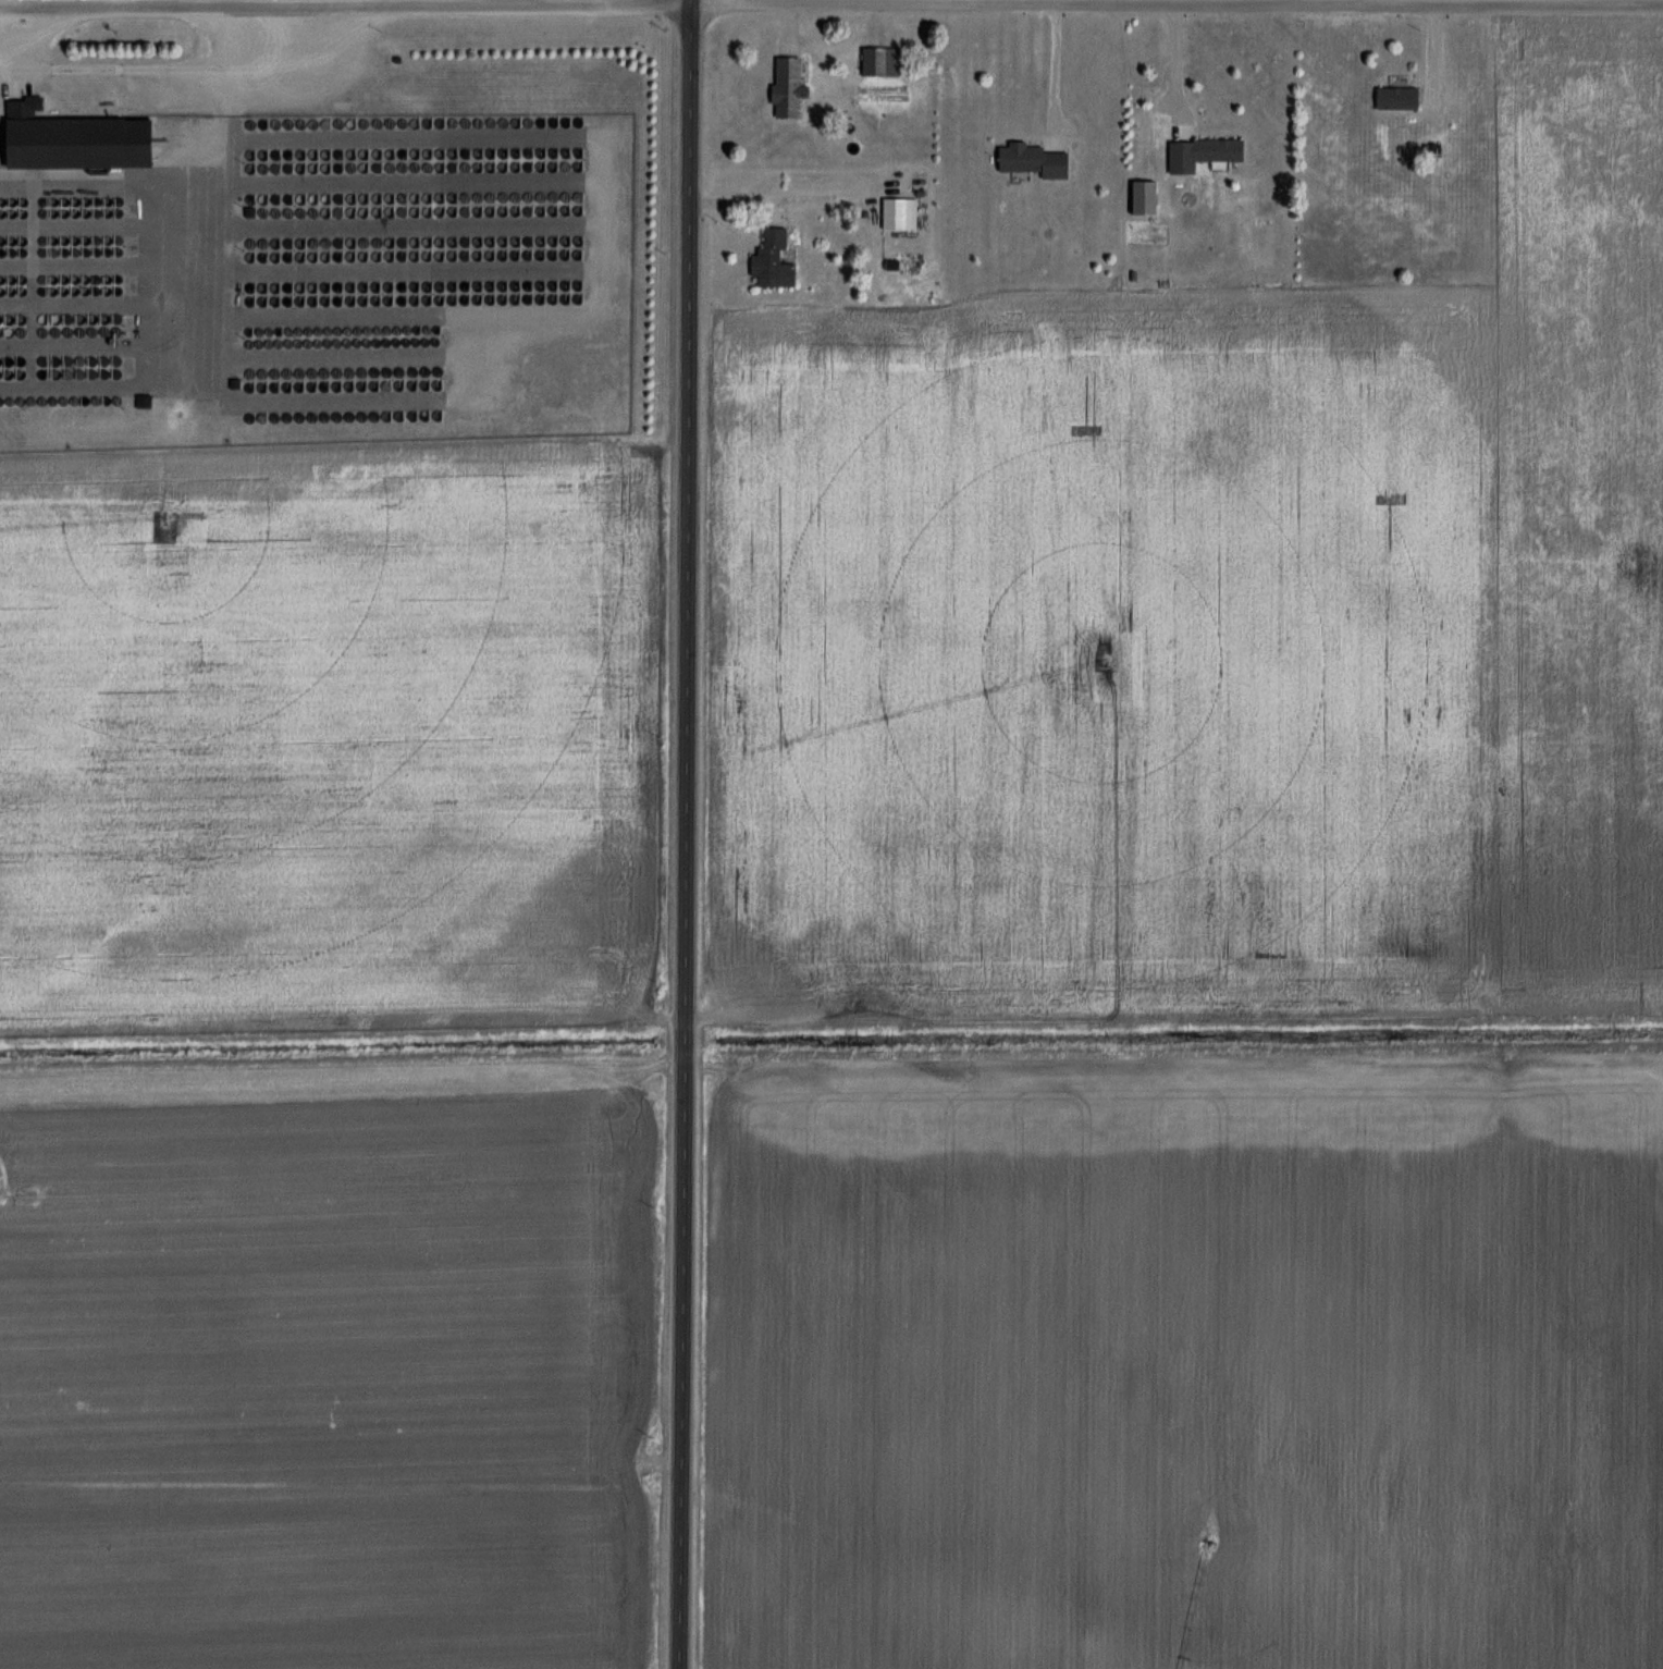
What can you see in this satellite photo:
road: (830, 1)
road: (1258, 1)
road: (1372, 1)
road: (1544, 1)
road: (41, 26)
road: (205, 30)
building: (876, 62)
road: (1179, 65)
road: (1057, 66)
road: (175, 68)
road: (37, 75)
building: (794, 87)
building: (1391, 98)
road: (231, 109)
storage tank: (417, 122)
storage tank: (429, 122)
storage tank: (442, 122)
storage tank: (316, 123)
storage tank: (328, 123)
storage tank: (341, 123)
storage tank: (353, 123)
storage tank: (366, 123)
storage tank: (378, 123)
storage tank: (390, 123)
storage tank: (403, 123)
storage tank: (252, 124)
storage tank: (266, 124)
storage tank: (279, 124)
storage tank: (291, 124)
storage tank: (304, 124)
building: (76, 139)
road: (331, 139)
storage tank: (390, 154)
storage tank: (403, 154)
storage tank: (417, 154)
storage tank: (429, 154)
storage tank: (442, 154)
building: (1198, 154)
storage tank: (291, 155)
storage tank: (303, 155)
storage tank: (316, 155)
storage tank: (328, 155)
storage tank: (341, 155)
storage tank: (353, 155)
storage tank: (365, 155)
storage tank: (378, 155)
storage tank: (252, 156)
storage tank: (266, 156)
storage tank: (279, 156)
building: (1028, 161)
storage tank: (417, 167)
storage tank: (430, 167)
storage tank: (442, 167)
storage tank: (304, 168)
storage tank: (316, 168)
storage tank: (329, 168)
storage tank: (341, 168)
storage tank: (354, 168)
storage tank: (366, 168)
storage tank: (378, 168)
storage tank: (391, 168)
storage tank: (404, 168)
storage tank: (254, 169)
storage tank: (266, 169)
storage tank: (279, 169)
storage tank: (291, 169)
road: (331, 184)
road: (103, 185)
storage tank: (353, 198)
storage tank: (365, 198)
storage tank: (378, 198)
storage tank: (390, 198)
storage tank: (403, 198)
storage tank: (417, 198)
storage tank: (429, 198)
storage tank: (442, 198)
building: (1137, 198)
storage tank: (252, 199)
storage tank: (266, 199)
storage tank: (279, 199)
storage tank: (291, 199)
storage tank: (303, 199)
storage tank: (316, 199)
storage tank: (328, 199)
storage tank: (341, 199)
storage tank: (25, 201)
storage tank: (67, 201)
storage tank: (77, 201)
storage tank: (88, 201)
storage tank: (99, 201)
storage tank: (110, 201)
storage tank: (121, 201)
storage tank: (3, 203)
storage tank: (14, 203)
storage tank: (46, 203)
storage tank: (57, 203)
storage tank: (378, 211)
storage tank: (391, 211)
storage tank: (404, 211)
storage tank: (417, 211)
storage tank: (430, 211)
storage tank: (442, 211)
storage tank: (77, 212)
storage tank: (88, 212)
storage tank: (99, 212)
storage tank: (110, 212)
storage tank: (121, 212)
storage tank: (266, 212)
storage tank: (279, 212)
storage tank: (291, 212)
storage tank: (304, 212)
storage tank: (316, 212)
storage tank: (329, 212)
storage tank: (341, 212)
storage tank: (354, 212)
storage tank: (366, 212)
storage tank: (3, 213)
storage tank: (13, 213)
storage tank: (24, 213)
storage tank: (46, 213)
storage tank: (57, 213)
storage tank: (66, 213)
storage tank: (254, 213)
building: (896, 214)
road: (103, 225)
road: (332, 229)
storage tank: (121, 240)
storage tank: (3, 241)
storage tank: (14, 241)
storage tank: (25, 241)
storage tank: (46, 241)
storage tank: (57, 241)
storage tank: (67, 241)
storage tank: (78, 241)
storage tank: (88, 241)
storage tank: (99, 241)
storage tank: (110, 241)
storage tank: (429, 242)
storage tank: (441, 242)
storage tank: (315, 243)
storage tank: (328, 243)
storage tank: (341, 243)
storage tank: (353, 243)
storage tank: (365, 243)
storage tank: (377, 243)
storage tank: (390, 243)
storage tank: (403, 243)
storage tank: (416, 243)
storage tank: (252, 244)
storage tank: (266, 244)
storage tank: (278, 244)
storage tank: (290, 244)
storage tank: (303, 244)
storage tank: (14, 251)
storage tank: (25, 251)
storage tank: (46, 251)
storage tank: (57, 251)
storage tank: (67, 251)
storage tank: (77, 251)
storage tank: (88, 251)
storage tank: (99, 251)
storage tank: (110, 251)
storage tank: (121, 251)
storage tank: (3, 253)
storage tank: (442, 255)
storage tank: (341, 256)
storage tank: (353, 256)
storage tank: (366, 256)
storage tank: (378, 256)
storage tank: (391, 256)
storage tank: (403, 256)
storage tank: (417, 256)
storage tank: (429, 256)
storage tank: (252, 257)
storage tank: (266, 257)
storage tank: (279, 257)
storage tank: (291, 257)
storage tank: (304, 257)
storage tank: (316, 257)
storage tank: (328, 257)
building: (778, 261)
road: (103, 266)
road: (332, 273)
storage tank: (66, 279)
storage tank: (77, 279)
storage tank: (88, 279)
storage tank: (98, 279)
storage tank: (109, 279)
storage tank: (120, 279)
storage tank: (2, 280)
storage tank: (13, 280)
storage tank: (24, 280)
storage tank: (45, 280)
storage tank: (56, 280)
storage tank: (391, 286)
storage tank: (403, 286)
storage tank: (417, 286)
storage tank: (429, 286)
storage tank: (442, 286)
storage tank: (291, 287)
storage tank: (304, 287)
storage tank: (316, 287)
storage tank: (328, 287)
storage tank: (341, 287)
storage tank: (353, 287)
storage tank: (366, 287)
storage tank: (378, 287)
storage tank: (252, 289)
storage tank: (266, 289)
storage tank: (279, 289)
storage tank: (120, 290)
storage tank: (2, 291)
storage tank: (13, 291)
storage tank: (24, 291)
storage tank: (45, 291)
storage tank: (56, 291)
storage tank: (65, 291)
storage tank: (76, 291)
storage tank: (87, 291)
storage tank: (98, 291)
storage tank: (109, 291)
storage tank: (404, 299)
storage tank: (417, 299)
storage tank: (430, 299)
storage tank: (443, 299)
storage tank: (304, 300)
storage tank: (317, 300)
storage tank: (329, 300)
storage tank: (342, 300)
storage tank: (354, 300)
storage tank: (366, 300)
storage tank: (379, 300)
storage tank: (391, 300)
storage tank: (254, 302)
storage tank: (267, 302)
storage tank: (280, 302)
storage tank: (292, 302)
road: (103, 306)
road: (332, 315)
storage tank: (11, 319)
storage tank: (22, 319)
storage tank: (44, 319)
storage tank: (54, 319)
storage tank: (64, 319)
storage tank: (75, 319)
storage tank: (86, 319)
storage tank: (97, 319)
storage tank: (108, 319)
storage tank: (119, 319)
storage tank: (2, 320)
storage tank: (372, 328)
storage tank: (385, 328)
storage tank: (398, 328)
storage tank: (411, 328)
storage tank: (424, 328)
storage tank: (438, 328)
storage tank: (285, 329)
storage tank: (298, 329)
storage tank: (311, 329)
storage tank: (323, 329)
storage tank: (336, 329)
storage tank: (348, 329)
storage tank: (360, 329)
storage tank: (64, 330)
storage tank: (75, 330)
storage tank: (86, 330)
storage tank: (97, 330)
storage tank: (108, 330)
storage tank: (118, 330)
storage tank: (248, 330)
storage tank: (261, 330)
storage tank: (274, 330)
storage tank: (2, 331)
storage tank: (11, 331)
storage tank: (22, 331)
storage tank: (44, 331)
storage tank: (53, 331)
storage tank: (398, 341)
storage tank: (412, 341)
storage tank: (424, 341)
storage tank: (438, 341)
storage tank: (299, 342)
storage tank: (311, 342)
storage tank: (324, 342)
storage tank: (336, 342)
storage tank: (348, 342)
storage tank: (361, 342)
storage tank: (373, 342)
storage tank: (386, 342)
storage tank: (249, 343)
storage tank: (261, 343)
storage tank: (274, 343)
storage tank: (286, 343)
road: (103, 346)
road: (332, 357)
storage tank: (9, 360)
storage tank: (44, 360)
storage tank: (56, 360)
storage tank: (69, 360)
storage tank: (81, 360)
storage tank: (93, 360)
storage tank: (106, 360)
storage tank: (118, 360)
storage tank: (1, 361)
storage tank: (22, 361)
storage tank: (375, 371)
storage tank: (389, 371)
storage tank: (402, 371)
storage tank: (415, 371)
storage tank: (428, 371)
storage tank: (440, 371)
storage tank: (119, 372)
storage tank: (263, 372)
storage tank: (276, 372)
storage tank: (288, 372)
storage tank: (301, 372)
storage tank: (313, 372)
storage tank: (327, 372)
storage tank: (338, 372)
storage tank: (352, 372)
storage tank: (364, 372)
storage tank: (1, 373)
storage tank: (10, 373)
storage tank: (22, 373)
storage tank: (45, 373)
storage tank: (57, 373)
storage tank: (69, 373)
storage tank: (82, 373)
storage tank: (94, 373)
storage tank: (106, 373)
storage tank: (251, 373)
storage tank: (390, 384)
storage tank: (402, 384)
storage tank: (416, 384)
storage tank: (428, 384)
storage tank: (441, 384)
storage tank: (290, 385)
storage tank: (303, 385)
storage tank: (315, 385)
storage tank: (327, 385)
storage tank: (340, 385)
storage tank: (352, 385)
storage tank: (365, 385)
storage tank: (377, 385)
road: (103, 386)
storage tank: (251, 386)
storage tank: (264, 386)
storage tank: (278, 386)
road: (317, 398)
storage tank: (65, 400)
storage tank: (76, 400)
storage tank: (86, 400)
storage tank: (97, 400)
storage tank: (108, 400)
storage tank: (119, 400)
storage tank: (2, 401)
storage tank: (12, 401)
storage tank: (23, 401)
storage tank: (33, 401)
storage tank: (44, 401)
storage tank: (54, 401)
storage tank: (364, 415)
storage tank: (375, 415)
storage tank: (389, 415)
storage tank: (402, 415)
storage tank: (415, 415)
storage tank: (428, 415)
storage tank: (440, 415)
storage tank: (251, 416)
storage tank: (263, 416)
storage tank: (276, 416)
storage tank: (288, 416)
storage tank: (301, 416)
storage tank: (313, 416)
storage tank: (327, 416)
storage tank: (338, 416)
storage tank: (352, 416)
road: (685, 834)

